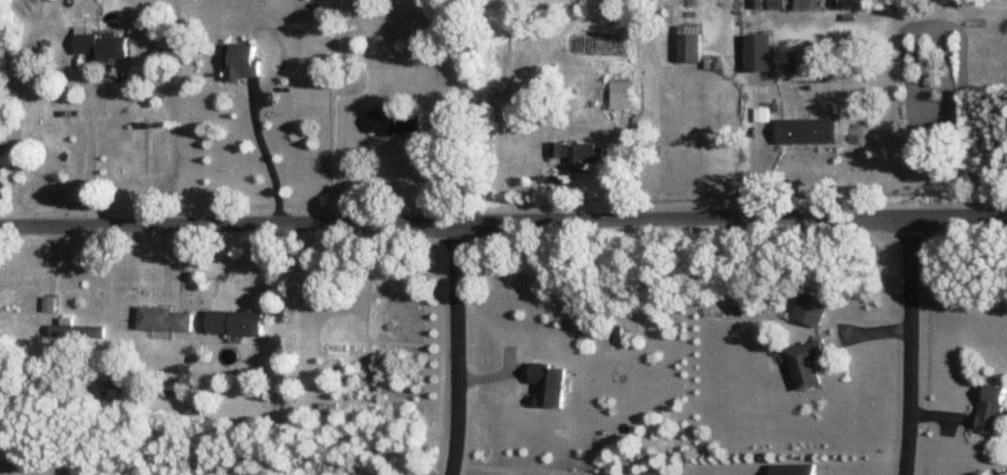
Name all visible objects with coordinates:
building: (806, 5)
building: (690, 45)
building: (101, 47)
building: (758, 54)
building: (242, 64)
building: (620, 99)
building: (500, 116)
building: (395, 123)
building: (805, 132)
road: (88, 152)
road: (264, 152)
building: (578, 154)
road: (503, 222)
building: (811, 310)
building: (155, 320)
building: (182, 323)
building: (234, 324)
building: (77, 332)
road: (917, 346)
road: (455, 349)
building: (806, 363)
building: (547, 386)
building: (990, 410)
building: (792, 469)

